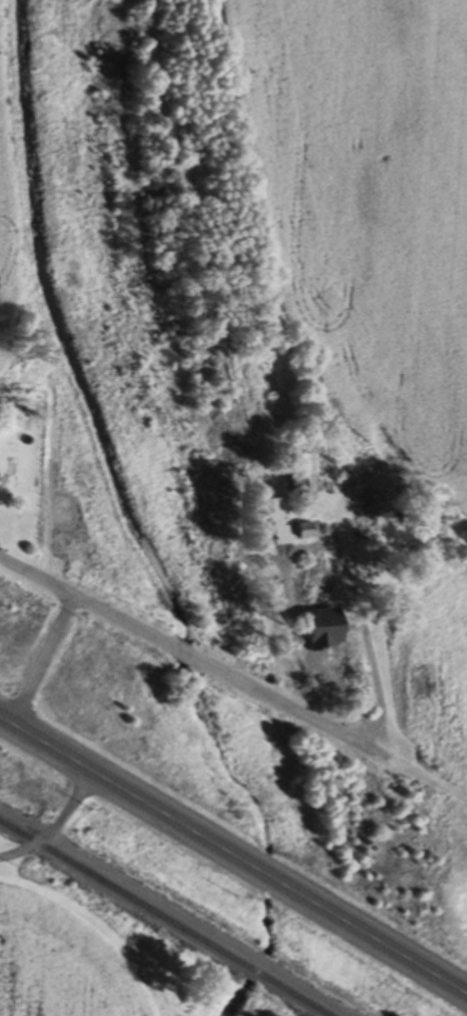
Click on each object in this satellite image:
building: (304, 477)
building: (367, 519)
building: (308, 532)
building: (317, 589)
road: (45, 657)
road: (203, 657)
road: (370, 678)
road: (55, 828)
road: (232, 856)
railway: (161, 920)

